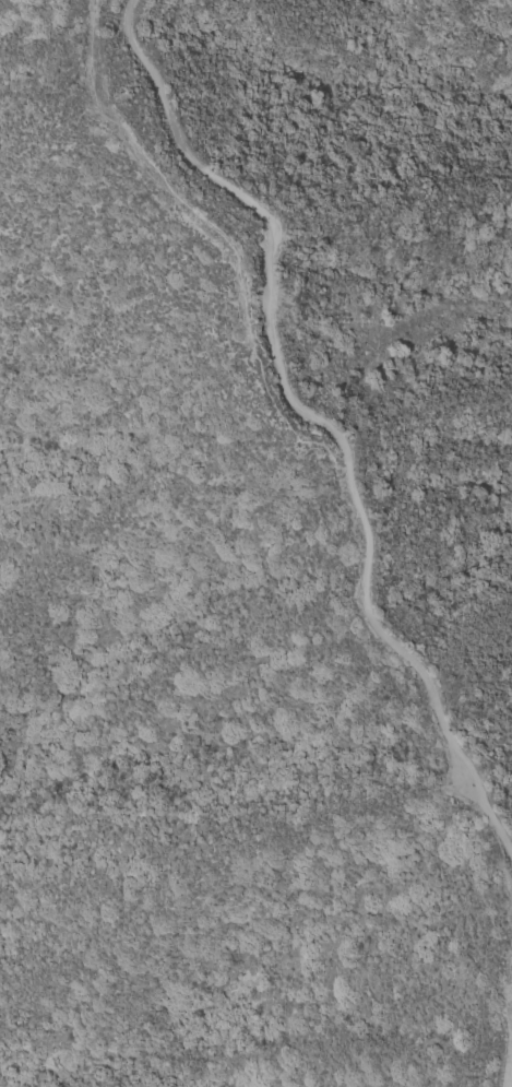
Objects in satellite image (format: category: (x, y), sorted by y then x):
road: (318, 421)
road: (509, 1070)

